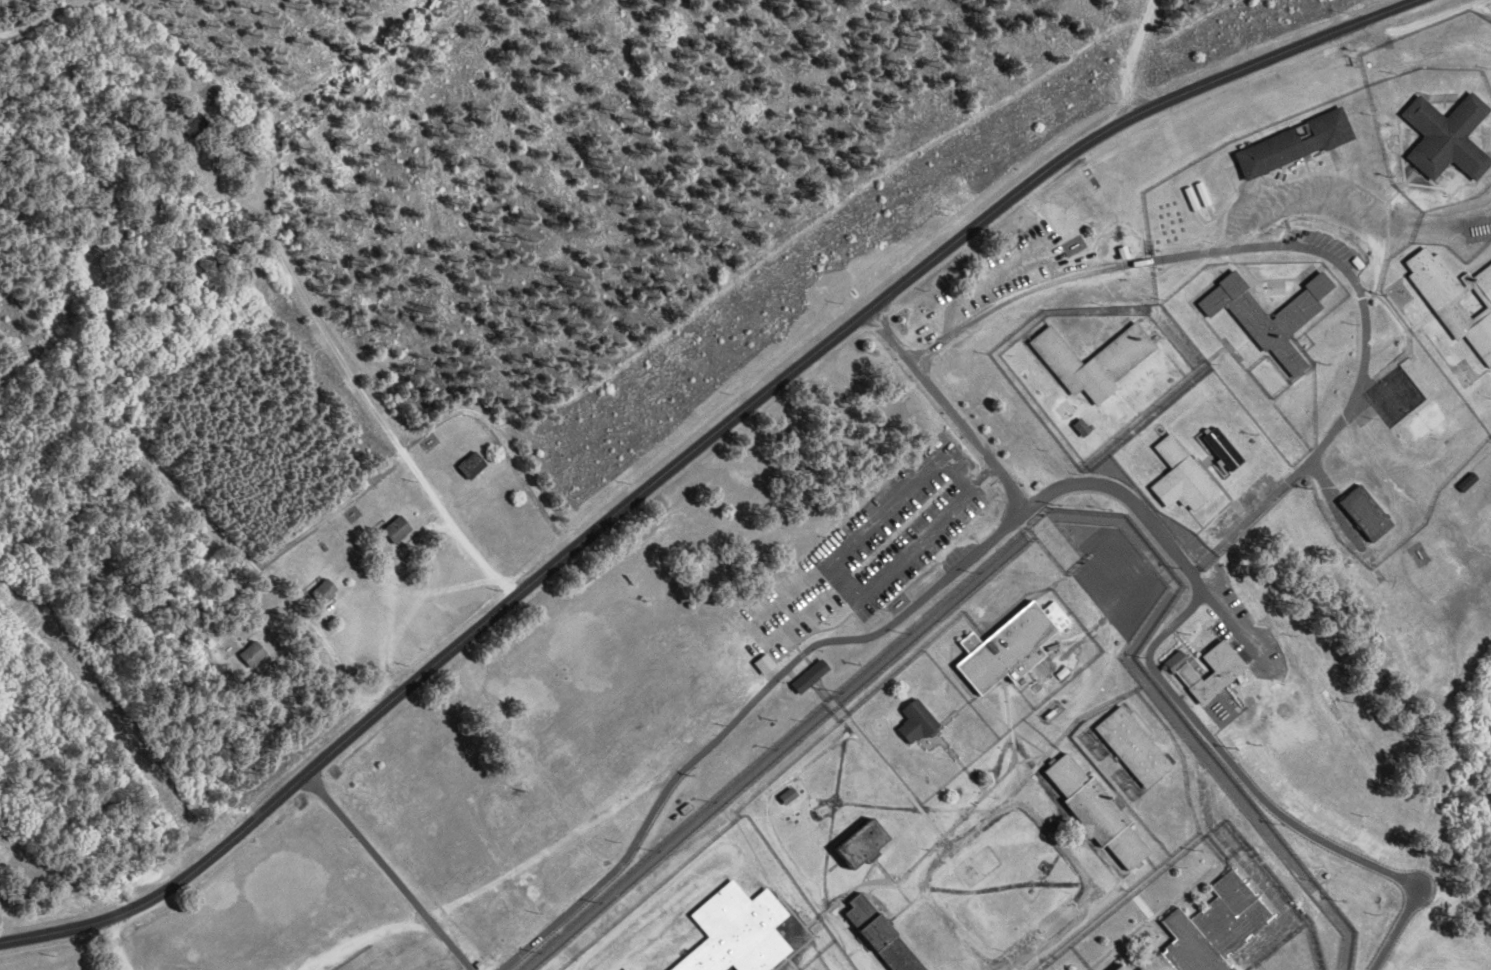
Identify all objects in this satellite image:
road: (1128, 60)
building: (188, 121)
building: (1444, 136)
building: (1291, 145)
building: (1119, 251)
building: (1479, 279)
road: (1022, 291)
road: (302, 296)
building: (1447, 300)
building: (1486, 302)
building: (1271, 330)
road: (1365, 345)
building: (1090, 360)
road: (949, 409)
park: (1067, 410)
building: (1080, 427)
road: (696, 452)
building: (470, 465)
road: (158, 470)
building: (1179, 476)
building: (1466, 481)
road: (1048, 493)
building: (1363, 513)
building: (396, 528)
road: (1028, 534)
road: (1053, 535)
road: (1196, 568)
building: (320, 593)
building: (1002, 650)
building: (252, 656)
building: (759, 662)
building: (1226, 670)
building: (806, 676)
road: (825, 693)
building: (914, 723)
building: (1130, 746)
building: (787, 797)
building: (1093, 812)
building: (857, 846)
park: (978, 865)
road: (388, 872)
park: (1056, 917)
building: (1210, 927)
building: (735, 932)
building: (878, 936)
road: (115, 944)
building: (1114, 967)
building: (1123, 967)
building: (622, 969)
building: (624, 969)

